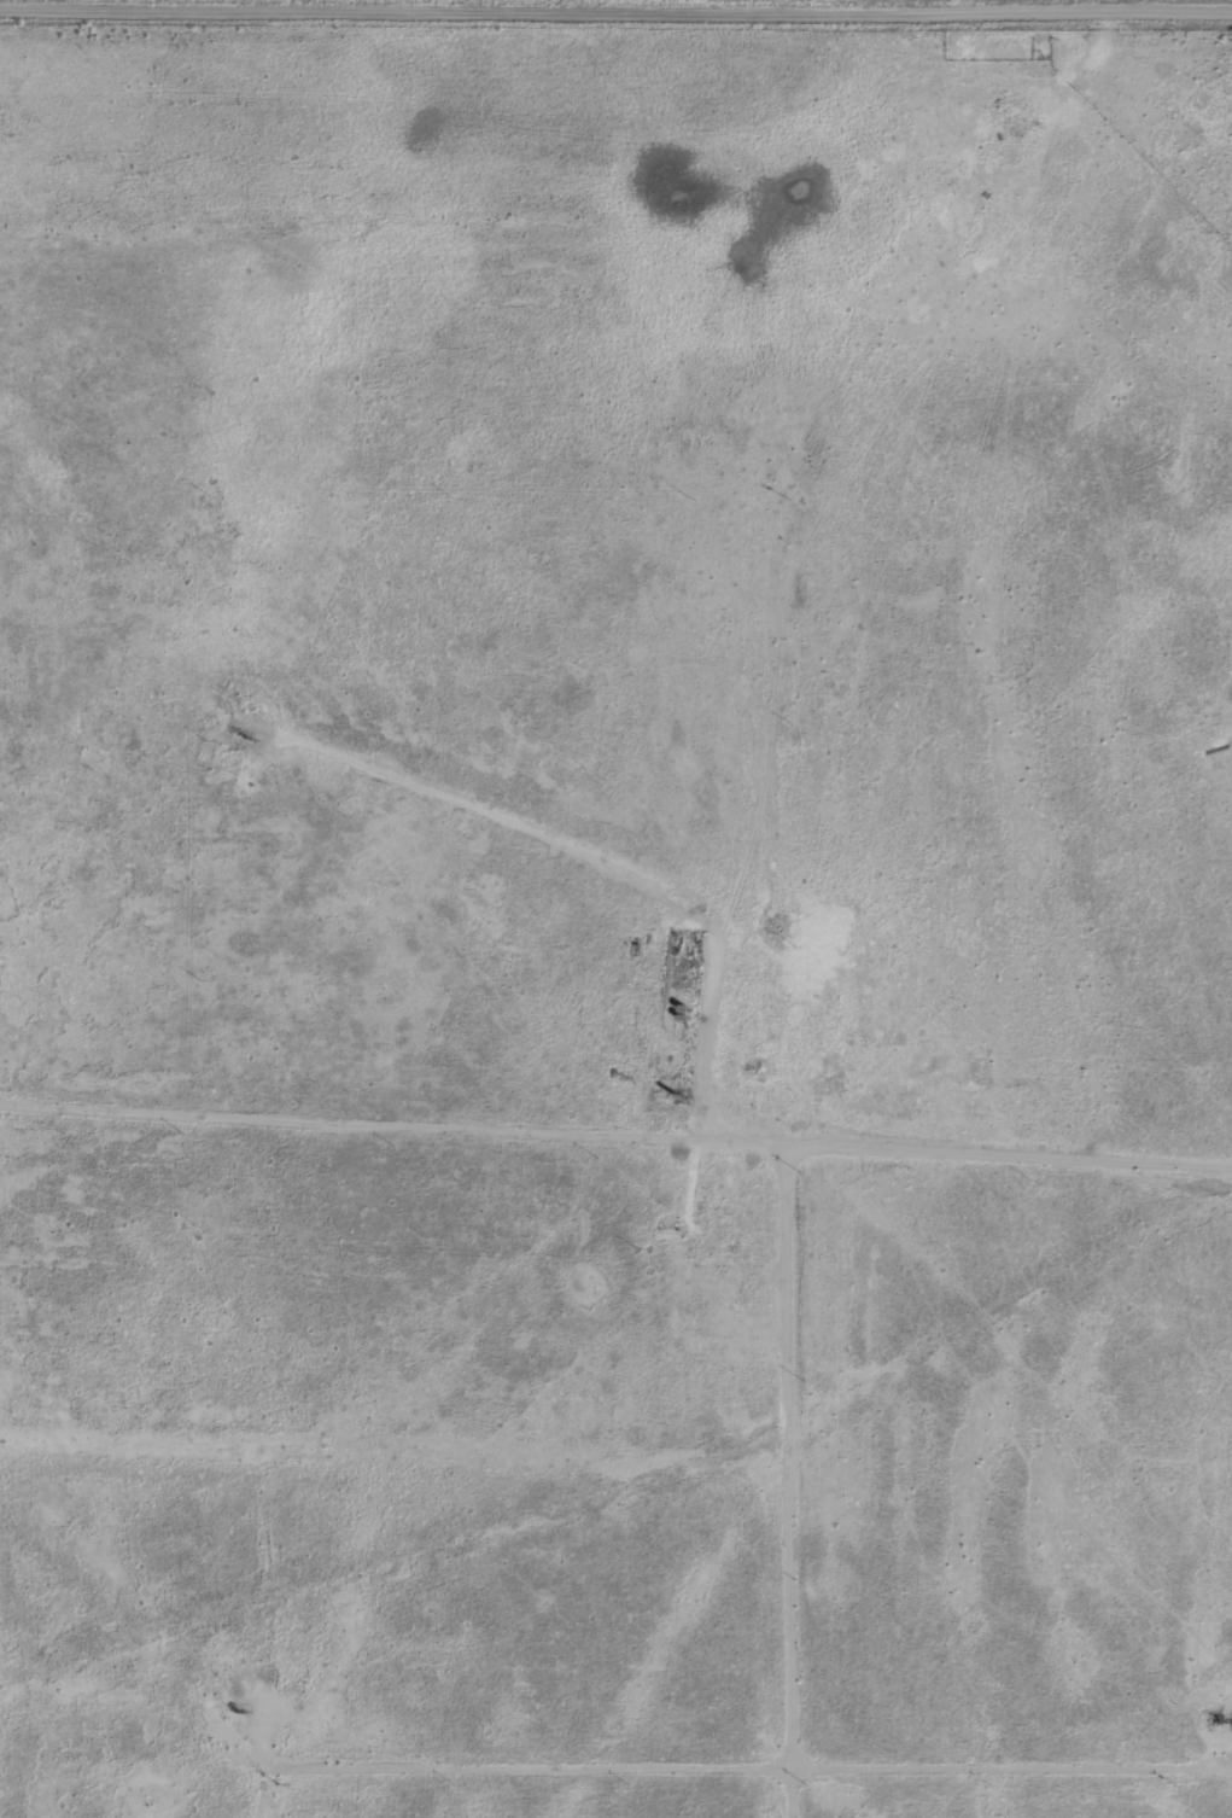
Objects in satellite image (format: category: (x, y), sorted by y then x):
road: (798, 619)
petroleum well: (240, 738)
road: (513, 888)
road: (1021, 1130)
petroleum well: (244, 1712)
petroleum well: (1227, 1721)

